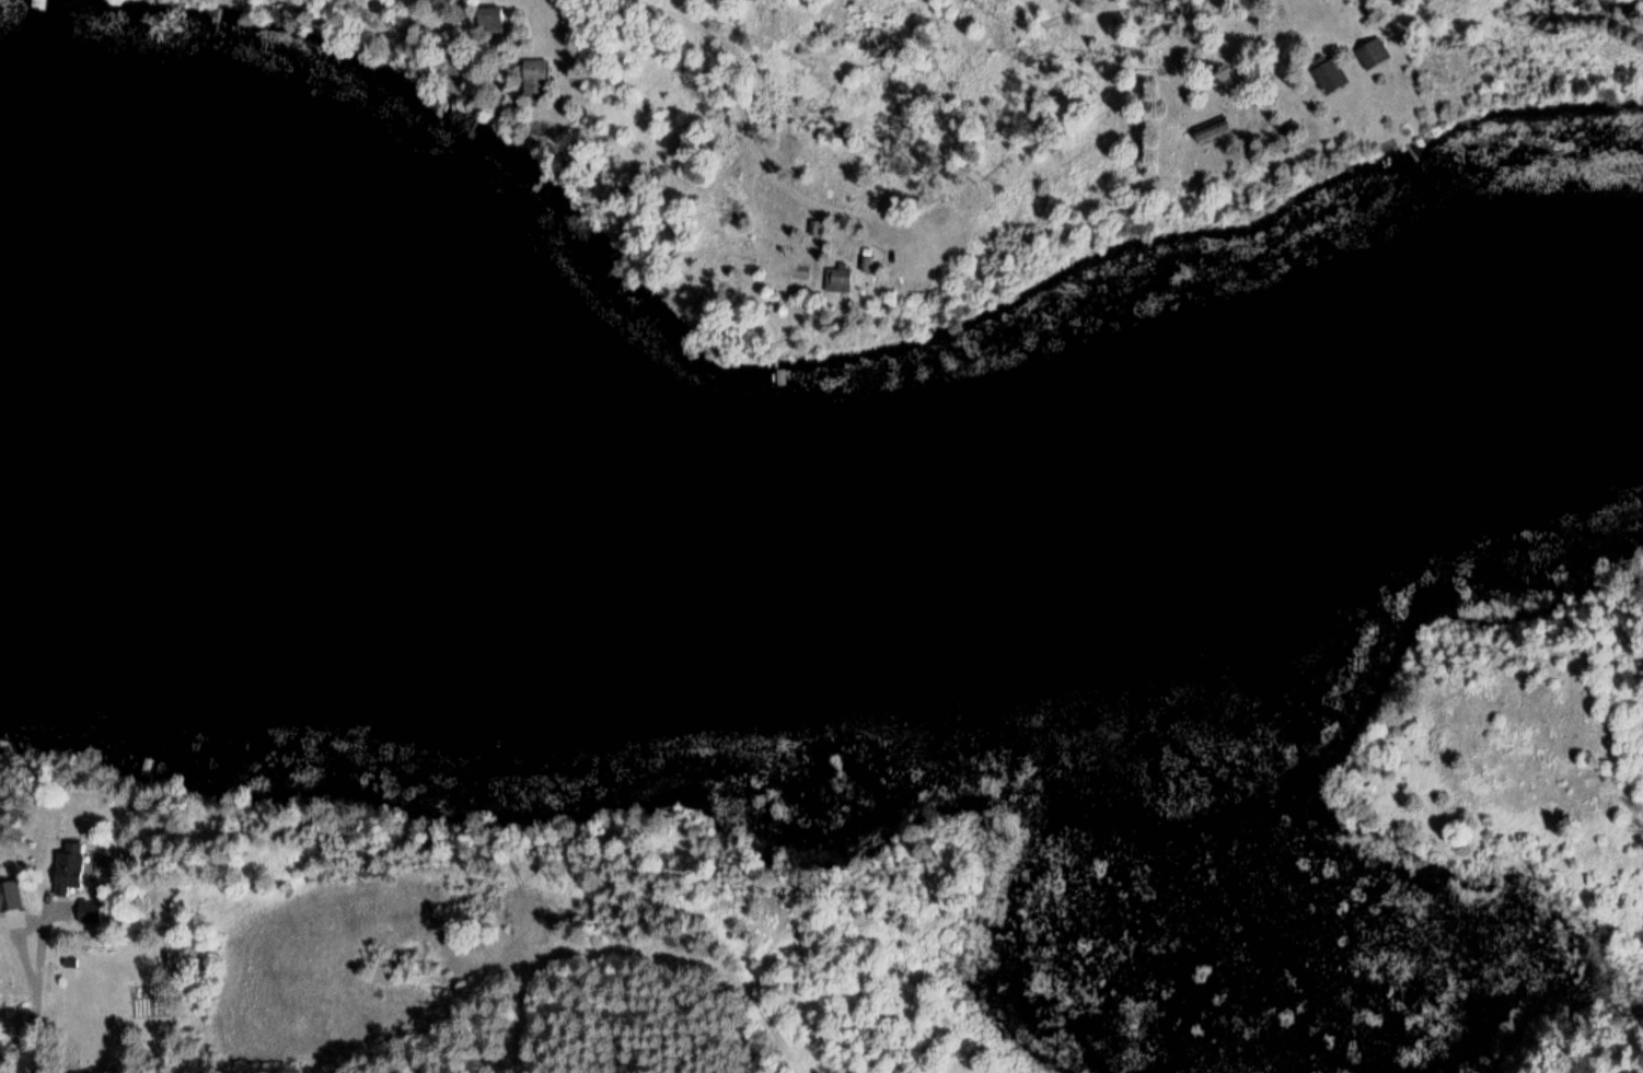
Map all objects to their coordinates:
building: (491, 19)
building: (1373, 54)
road: (757, 63)
building: (1331, 75)
building: (535, 77)
building: (1215, 130)
building: (799, 270)
building: (840, 279)
building: (71, 868)
building: (10, 893)

